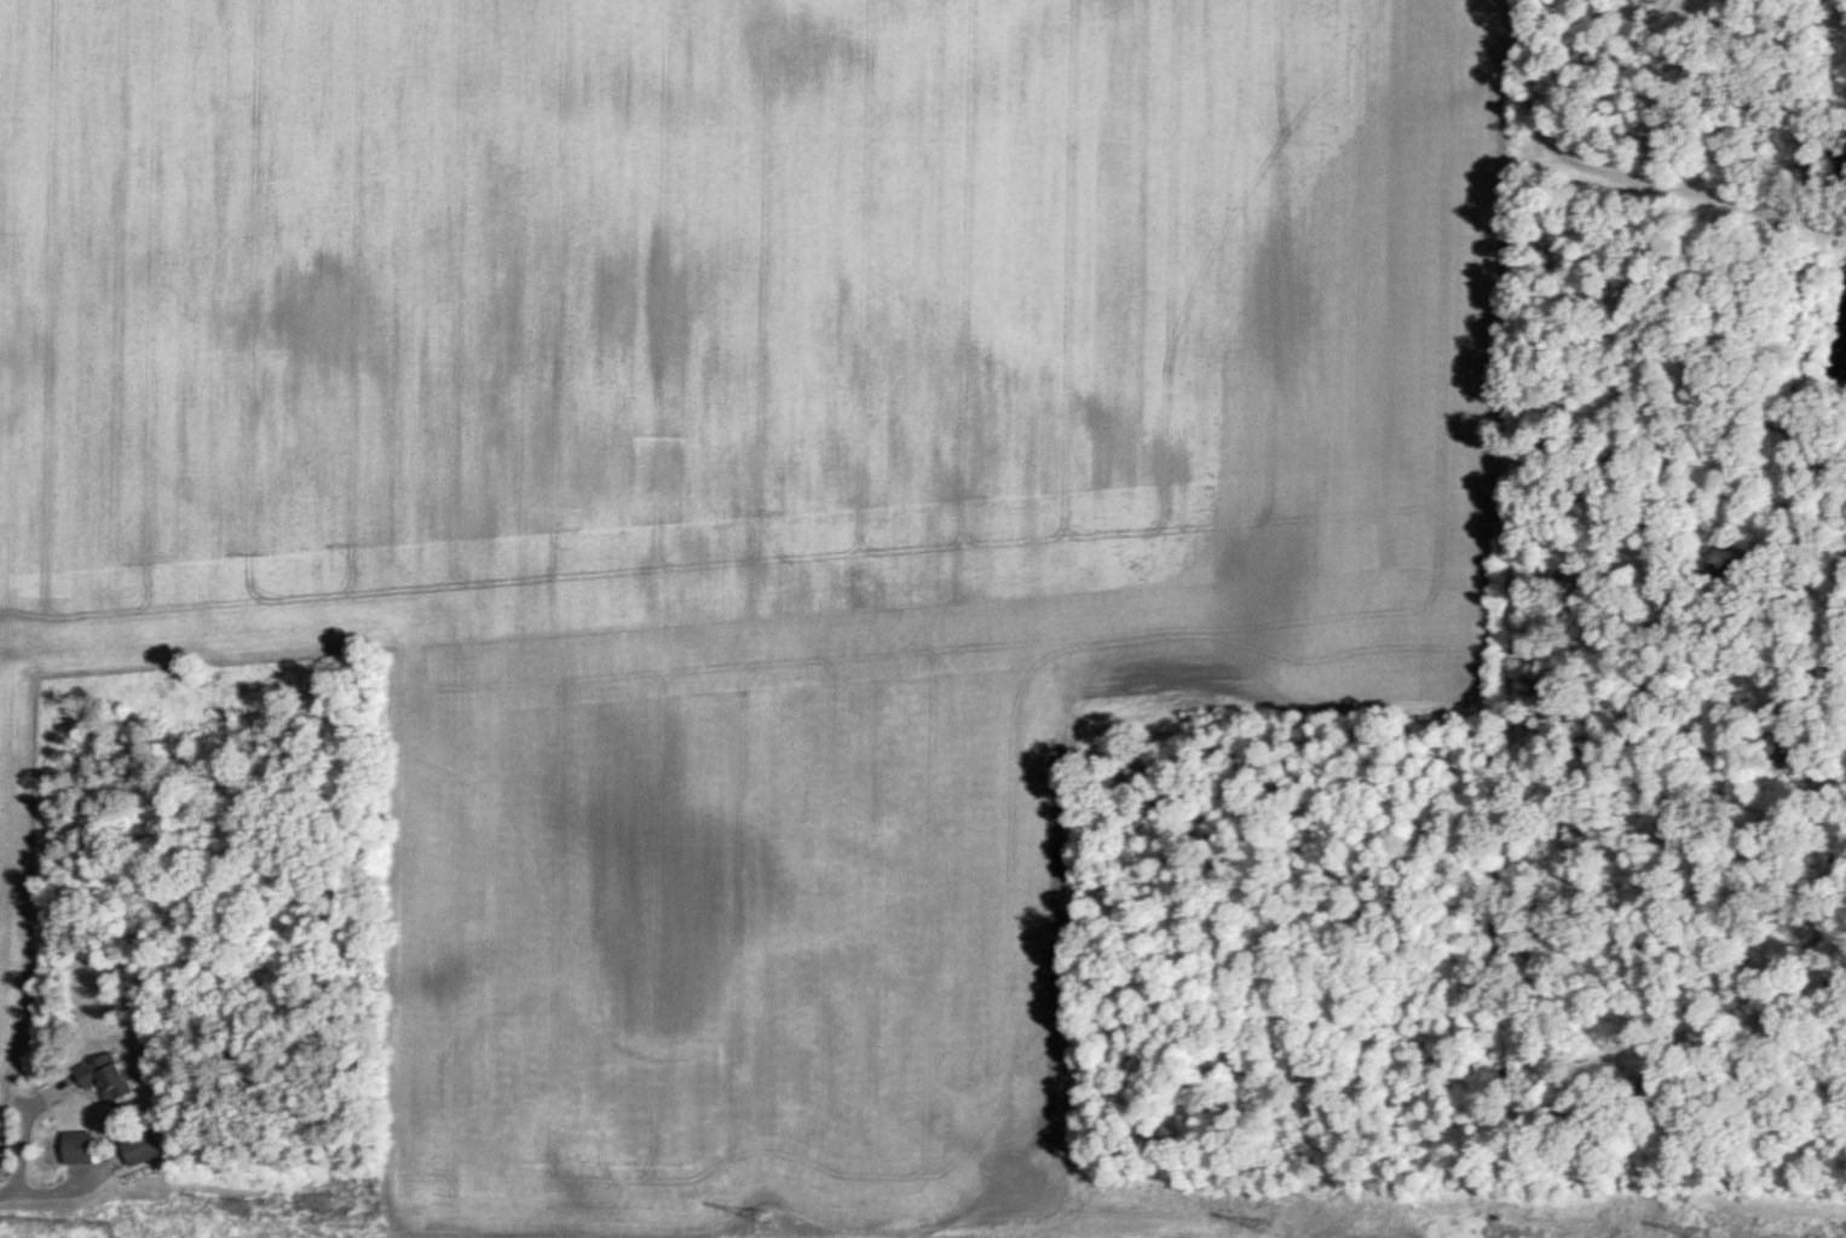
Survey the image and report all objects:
building: (113, 1078)
road: (27, 1130)
building: (83, 1148)
building: (145, 1151)
power tower: (238, 1207)
power tower: (762, 1216)
power tower: (1265, 1225)

